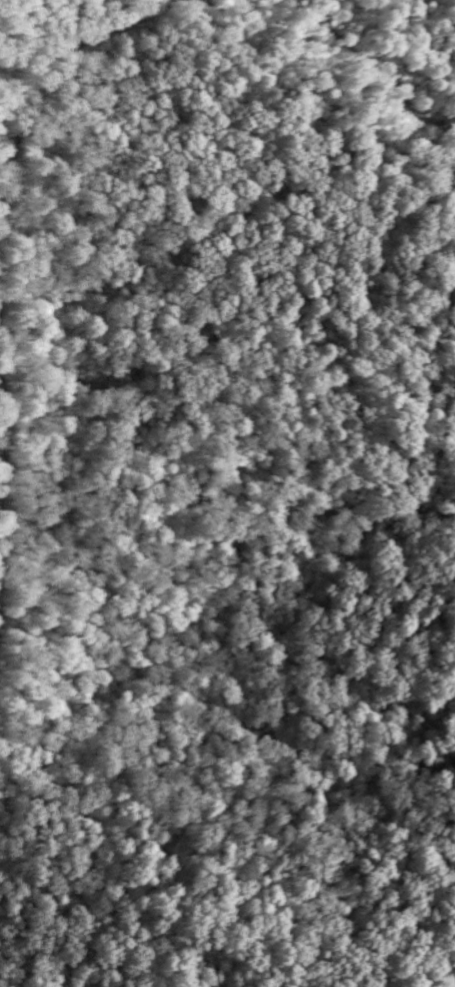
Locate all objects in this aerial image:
road: (48, 84)
road: (6, 459)

